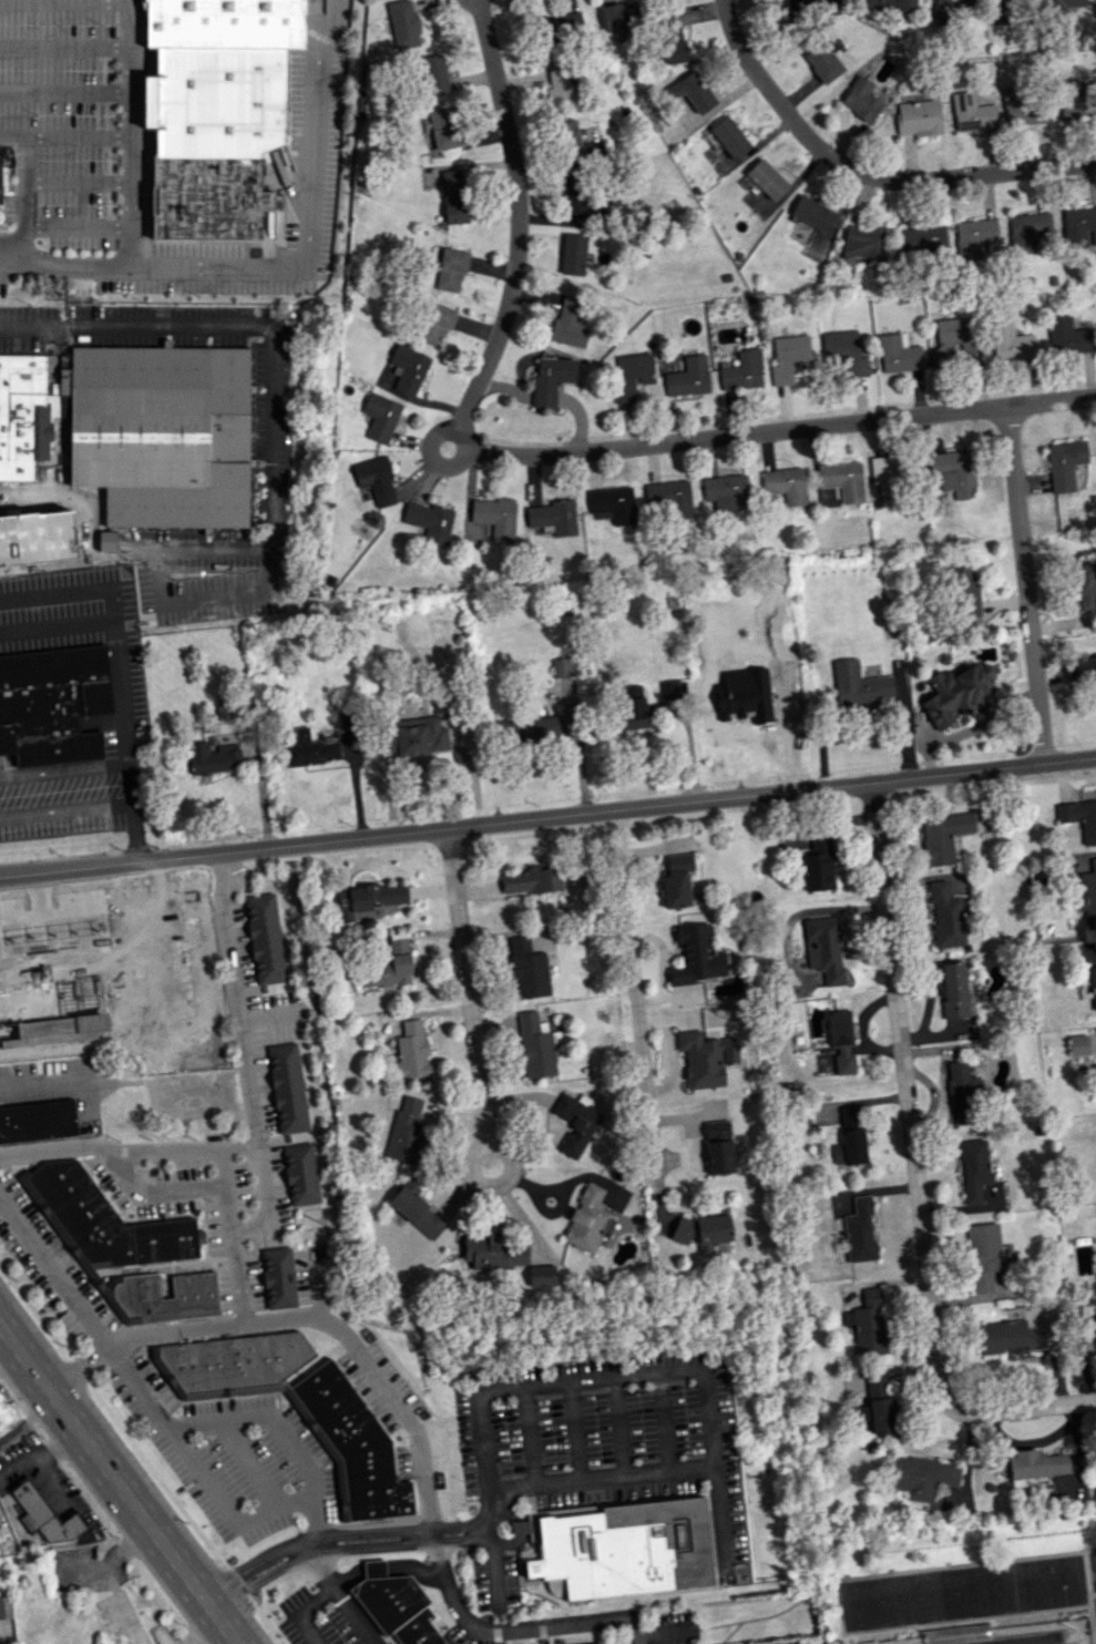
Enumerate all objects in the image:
road: (478, 2)
road: (481, 4)
building: (956, 4)
building: (1061, 4)
building: (887, 6)
building: (811, 7)
building: (1001, 10)
building: (618, 19)
building: (226, 24)
building: (403, 24)
building: (561, 25)
building: (675, 35)
building: (822, 63)
building: (434, 75)
building: (561, 88)
road: (64, 91)
building: (693, 92)
building: (861, 100)
building: (1073, 101)
building: (972, 113)
building: (918, 118)
building: (443, 127)
road: (130, 133)
road: (64, 135)
building: (729, 137)
parking lot: (86, 139)
building: (215, 140)
building: (570, 142)
road: (864, 174)
building: (766, 178)
building: (1, 182)
road: (23, 196)
building: (453, 196)
building: (574, 196)
building: (812, 213)
road: (310, 223)
building: (1079, 227)
building: (1027, 231)
road: (518, 236)
building: (974, 237)
building: (922, 238)
building: (864, 242)
building: (573, 254)
road: (63, 265)
building: (451, 268)
building: (436, 324)
building: (569, 324)
road: (248, 325)
building: (1068, 337)
building: (953, 343)
building: (1010, 343)
building: (844, 351)
building: (898, 355)
building: (788, 358)
building: (408, 369)
building: (741, 371)
building: (631, 376)
building: (688, 377)
building: (551, 379)
building: (25, 415)
building: (380, 417)
road: (787, 430)
building: (150, 441)
road: (429, 456)
building: (1064, 464)
building: (953, 471)
building: (884, 473)
building: (376, 480)
building: (842, 480)
building: (786, 484)
building: (725, 493)
building: (670, 497)
building: (613, 504)
building: (495, 515)
building: (553, 517)
building: (429, 521)
building: (107, 539)
road: (134, 552)
road: (1024, 584)
building: (1086, 585)
building: (774, 588)
road: (154, 589)
building: (965, 591)
building: (1083, 671)
road: (120, 672)
building: (858, 685)
building: (668, 688)
building: (956, 693)
building: (742, 702)
building: (52, 704)
building: (633, 707)
building: (225, 712)
building: (533, 729)
building: (420, 738)
building: (311, 749)
building: (212, 758)
road: (426, 764)
road: (547, 817)
building: (1079, 818)
building: (943, 837)
building: (818, 865)
building: (531, 880)
building: (677, 880)
building: (1087, 895)
building: (946, 916)
building: (265, 939)
building: (826, 949)
building: (696, 956)
building: (111, 966)
building: (390, 967)
building: (527, 969)
building: (1093, 986)
road: (632, 989)
road: (197, 990)
building: (952, 990)
building: (19, 1005)
building: (841, 1042)
building: (535, 1045)
building: (1076, 1048)
road: (475, 1049)
building: (412, 1050)
road: (249, 1058)
building: (706, 1058)
building: (1094, 1073)
road: (39, 1084)
building: (287, 1089)
building: (962, 1093)
building: (40, 1122)
building: (575, 1122)
building: (406, 1132)
road: (131, 1147)
building: (718, 1147)
building: (850, 1147)
road: (913, 1170)
building: (973, 1170)
building: (300, 1174)
building: (416, 1211)
building: (588, 1219)
building: (104, 1221)
building: (703, 1229)
building: (860, 1231)
building: (498, 1252)
building: (983, 1256)
building: (542, 1276)
building: (278, 1278)
road: (318, 1281)
building: (135, 1298)
road: (80, 1303)
road: (243, 1303)
building: (869, 1324)
building: (1007, 1337)
building: (1089, 1345)
building: (234, 1362)
road: (654, 1372)
road: (379, 1382)
building: (880, 1406)
building: (860, 1413)
road: (27, 1420)
road: (287, 1442)
building: (354, 1444)
building: (1033, 1464)
building: (920, 1477)
road: (116, 1487)
road: (227, 1505)
building: (43, 1514)
road: (720, 1517)
building: (626, 1548)
road: (491, 1568)
road: (320, 1596)
building: (3, 1605)
building: (396, 1605)
road: (460, 1615)
building: (1038, 1641)

